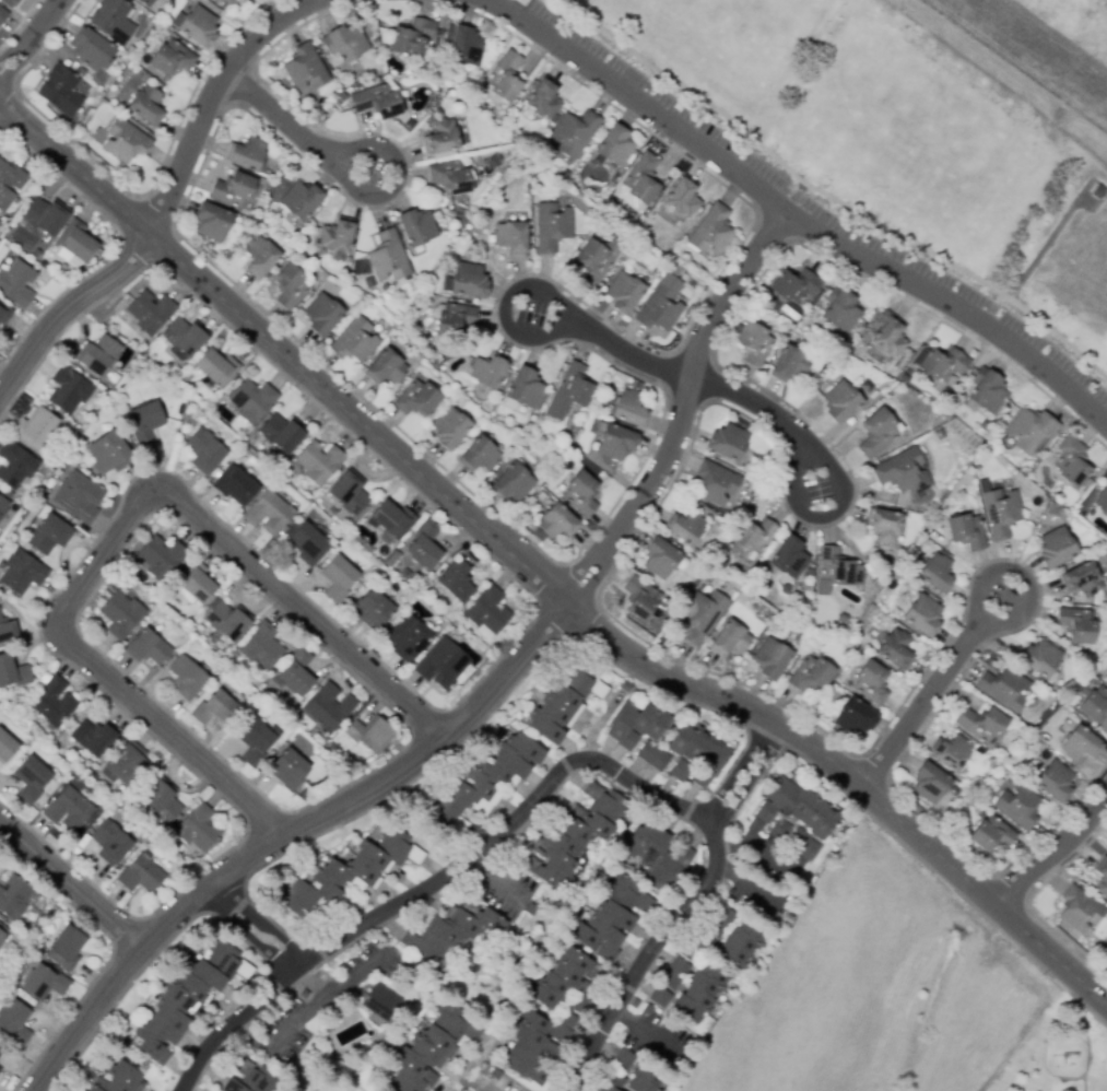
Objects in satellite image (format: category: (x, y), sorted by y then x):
building: (248, 0)
building: (227, 1)
building: (9, 2)
building: (144, 2)
building: (2, 15)
building: (113, 20)
building: (198, 27)
building: (412, 36)
road: (31, 37)
building: (345, 43)
airport: (1038, 44)
building: (462, 46)
building: (93, 51)
building: (131, 51)
building: (172, 58)
building: (335, 62)
building: (304, 67)
building: (435, 74)
building: (505, 77)
building: (60, 91)
road: (212, 94)
building: (544, 98)
building: (377, 101)
building: (148, 105)
road: (283, 118)
building: (574, 132)
building: (441, 137)
park: (895, 139)
building: (126, 141)
building: (614, 146)
road: (351, 150)
building: (247, 154)
building: (449, 177)
building: (640, 181)
building: (9, 183)
building: (233, 189)
road: (828, 196)
building: (683, 197)
building: (301, 200)
road: (789, 215)
building: (46, 216)
building: (212, 222)
building: (552, 226)
building: (416, 227)
building: (711, 231)
building: (335, 236)
building: (511, 238)
building: (76, 241)
building: (259, 257)
building: (388, 257)
building: (597, 259)
building: (362, 270)
building: (469, 281)
building: (16, 283)
building: (794, 285)
building: (290, 286)
building: (624, 293)
building: (661, 305)
road: (68, 309)
building: (840, 310)
building: (150, 312)
road: (558, 313)
building: (4, 314)
building: (322, 315)
building: (454, 320)
building: (425, 335)
building: (888, 335)
building: (184, 336)
building: (355, 341)
building: (754, 343)
road: (623, 353)
building: (98, 355)
building: (789, 364)
building: (942, 364)
building: (216, 367)
building: (386, 367)
building: (488, 371)
building: (523, 388)
building: (68, 390)
building: (987, 390)
building: (568, 391)
building: (416, 398)
building: (251, 400)
building: (840, 401)
building: (629, 408)
road: (759, 410)
building: (144, 423)
building: (984, 425)
building: (449, 427)
building: (35, 429)
building: (1031, 430)
building: (282, 433)
building: (876, 433)
building: (940, 435)
building: (615, 442)
building: (727, 442)
building: (203, 451)
building: (108, 453)
building: (480, 455)
building: (319, 462)
road: (816, 462)
building: (1071, 462)
building: (14, 465)
building: (899, 470)
building: (513, 483)
building: (715, 483)
building: (235, 485)
building: (349, 493)
building: (9, 494)
building: (580, 494)
building: (78, 497)
building: (1102, 501)
building: (19, 503)
building: (3, 506)
building: (1049, 508)
building: (1001, 513)
building: (269, 514)
building: (392, 519)
building: (557, 523)
road: (121, 525)
building: (883, 525)
building: (685, 527)
building: (965, 531)
building: (48, 535)
building: (754, 536)
building: (307, 544)
building: (425, 545)
building: (1055, 548)
building: (160, 558)
building: (660, 558)
building: (789, 558)
building: (392, 559)
building: (838, 568)
building: (22, 572)
building: (935, 573)
road: (538, 576)
building: (338, 578)
building: (1082, 579)
building: (456, 580)
building: (196, 582)
building: (786, 589)
building: (639, 598)
building: (370, 610)
building: (487, 610)
building: (121, 614)
building: (922, 614)
building: (702, 615)
building: (227, 621)
road: (997, 624)
building: (1075, 624)
building: (7, 631)
building: (407, 638)
building: (730, 638)
building: (802, 638)
building: (261, 646)
building: (146, 647)
building: (896, 648)
building: (1039, 658)
building: (770, 659)
building: (441, 665)
building: (12, 671)
building: (296, 672)
building: (811, 674)
building: (186, 677)
building: (871, 682)
building: (626, 687)
building: (1004, 689)
building: (51, 702)
building: (564, 702)
road: (923, 703)
building: (1094, 705)
building: (326, 708)
building: (215, 709)
road: (478, 711)
building: (855, 717)
building: (982, 724)
building: (636, 725)
building: (368, 734)
building: (93, 738)
building: (256, 740)
building: (1080, 744)
building: (5, 747)
building: (950, 752)
building: (696, 755)
building: (652, 756)
building: (991, 763)
building: (128, 764)
building: (287, 770)
road: (745, 773)
building: (31, 778)
building: (1055, 781)
road: (633, 782)
building: (484, 783)
building: (929, 783)
building: (162, 801)
building: (1018, 806)
building: (68, 809)
building: (794, 810)
building: (197, 828)
building: (991, 834)
building: (575, 835)
building: (109, 843)
building: (803, 844)
road: (1049, 853)
road: (765, 854)
building: (657, 855)
building: (140, 875)
building: (351, 875)
building: (1102, 875)
road: (498, 882)
road: (69, 884)
road: (751, 890)
building: (14, 898)
building: (531, 910)
building: (1079, 910)
road: (259, 917)
building: (612, 918)
building: (720, 923)
road: (245, 931)
building: (451, 931)
building: (2, 932)
building: (741, 942)
building: (11, 947)
building: (66, 948)
building: (696, 948)
building: (407, 965)
building: (674, 973)
road: (313, 977)
building: (566, 982)
building: (44, 983)
building: (699, 993)
building: (304, 994)
road: (326, 997)
building: (660, 997)
building: (184, 1001)
building: (381, 1001)
building: (648, 1009)
building: (14, 1022)
road: (233, 1023)
building: (562, 1025)
road: (657, 1035)
road: (251, 1040)
building: (531, 1048)
building: (1, 1049)
building: (432, 1049)
park: (1062, 1055)
building: (623, 1058)
building: (285, 1067)
road: (467, 1067)
building: (0, 1069)
building: (496, 1075)
building: (251, 1078)
building: (645, 1078)
building: (118, 1079)
road: (459, 1081)
building: (613, 1082)

